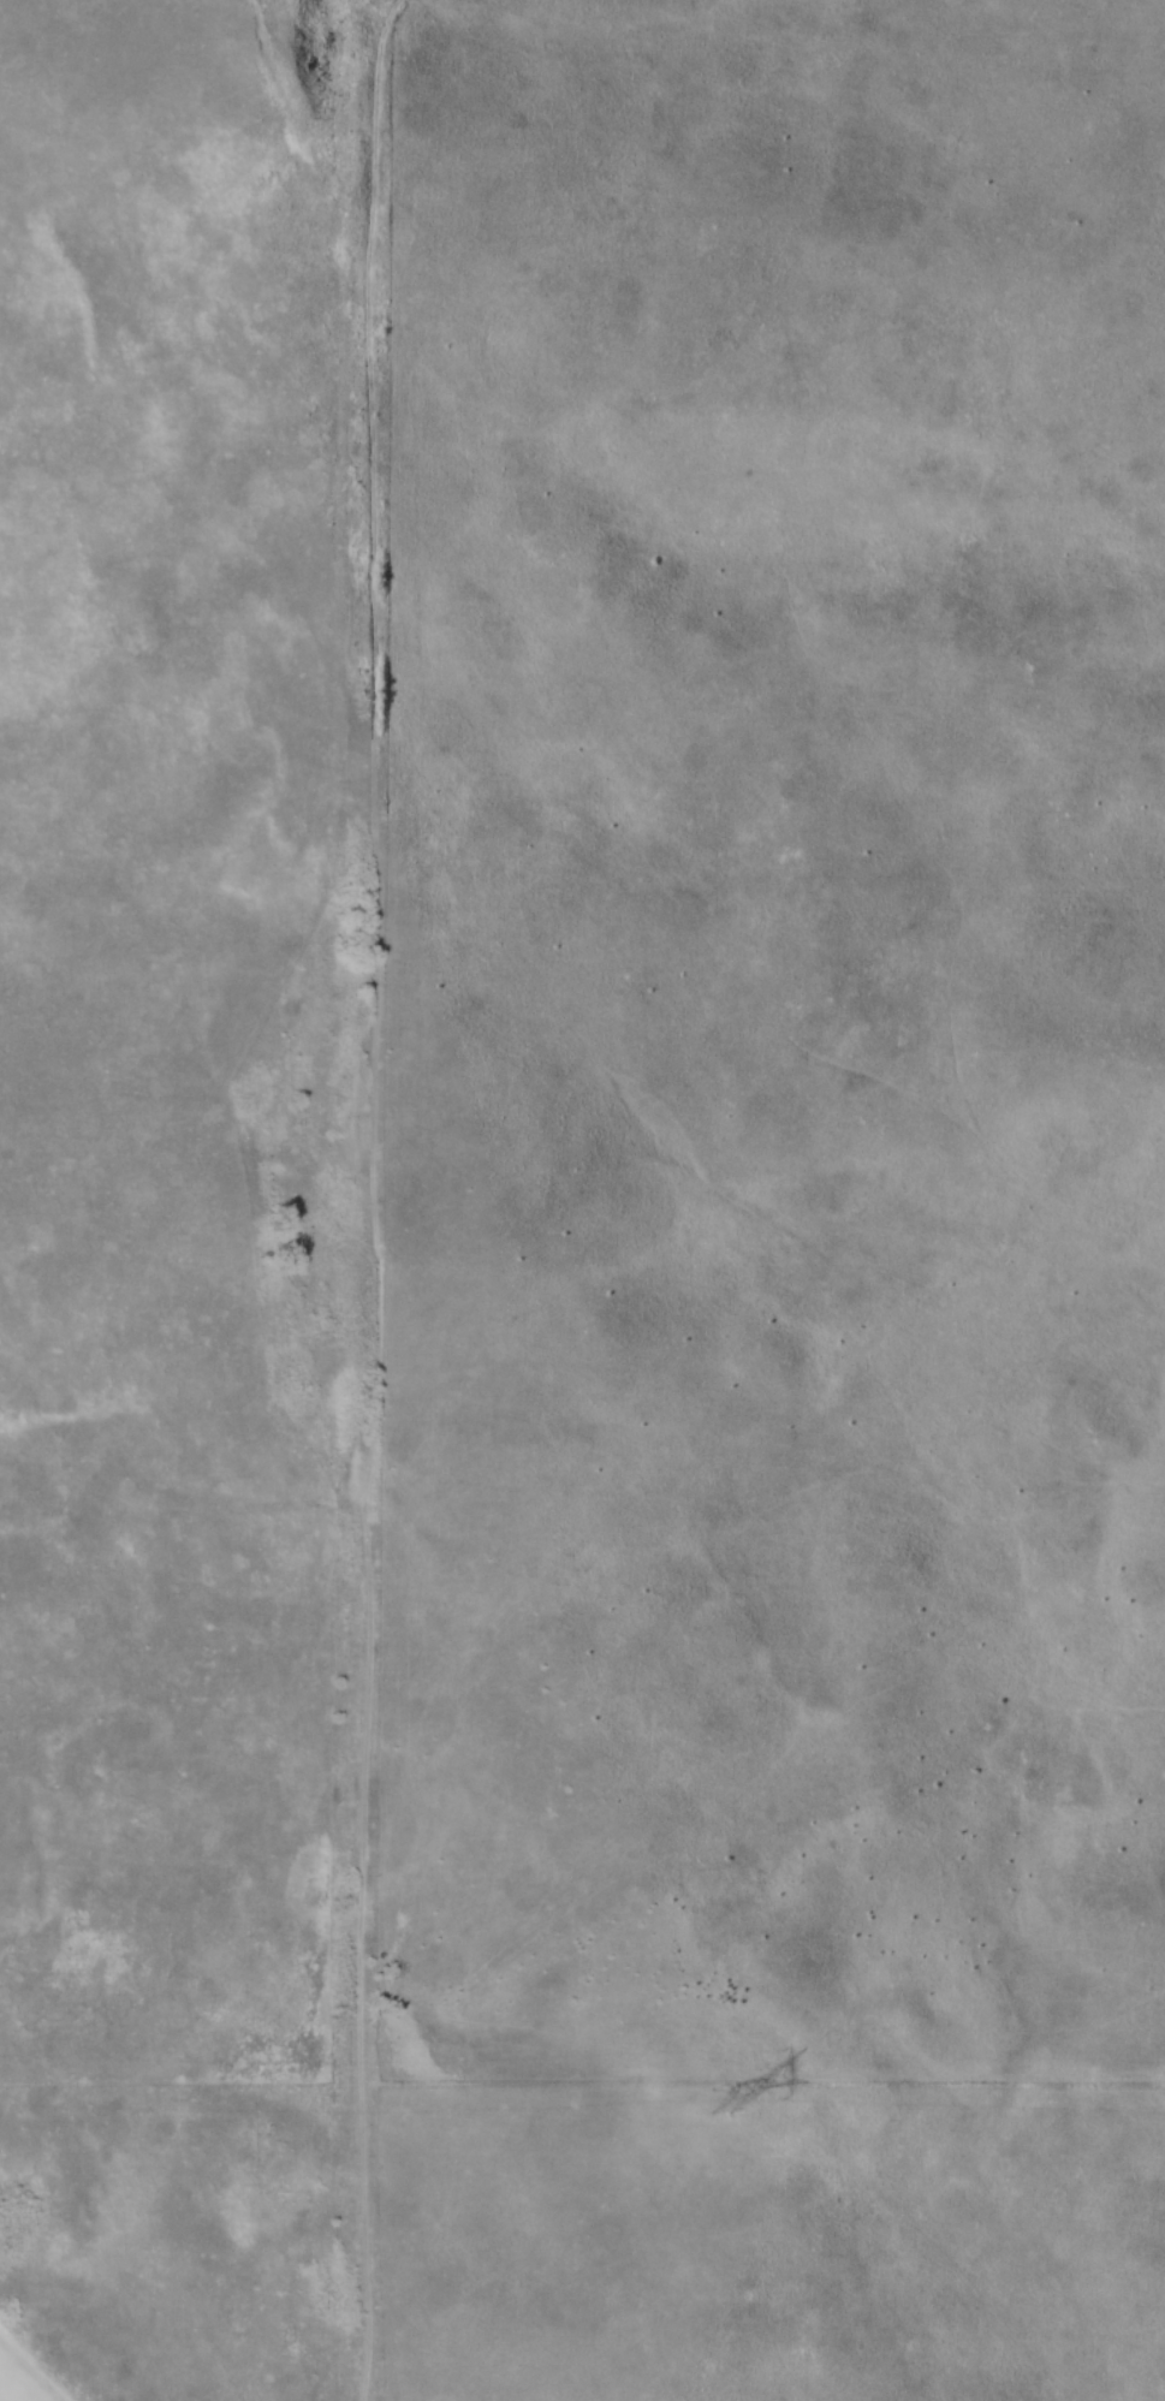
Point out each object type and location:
power tower: (721, 2100)

